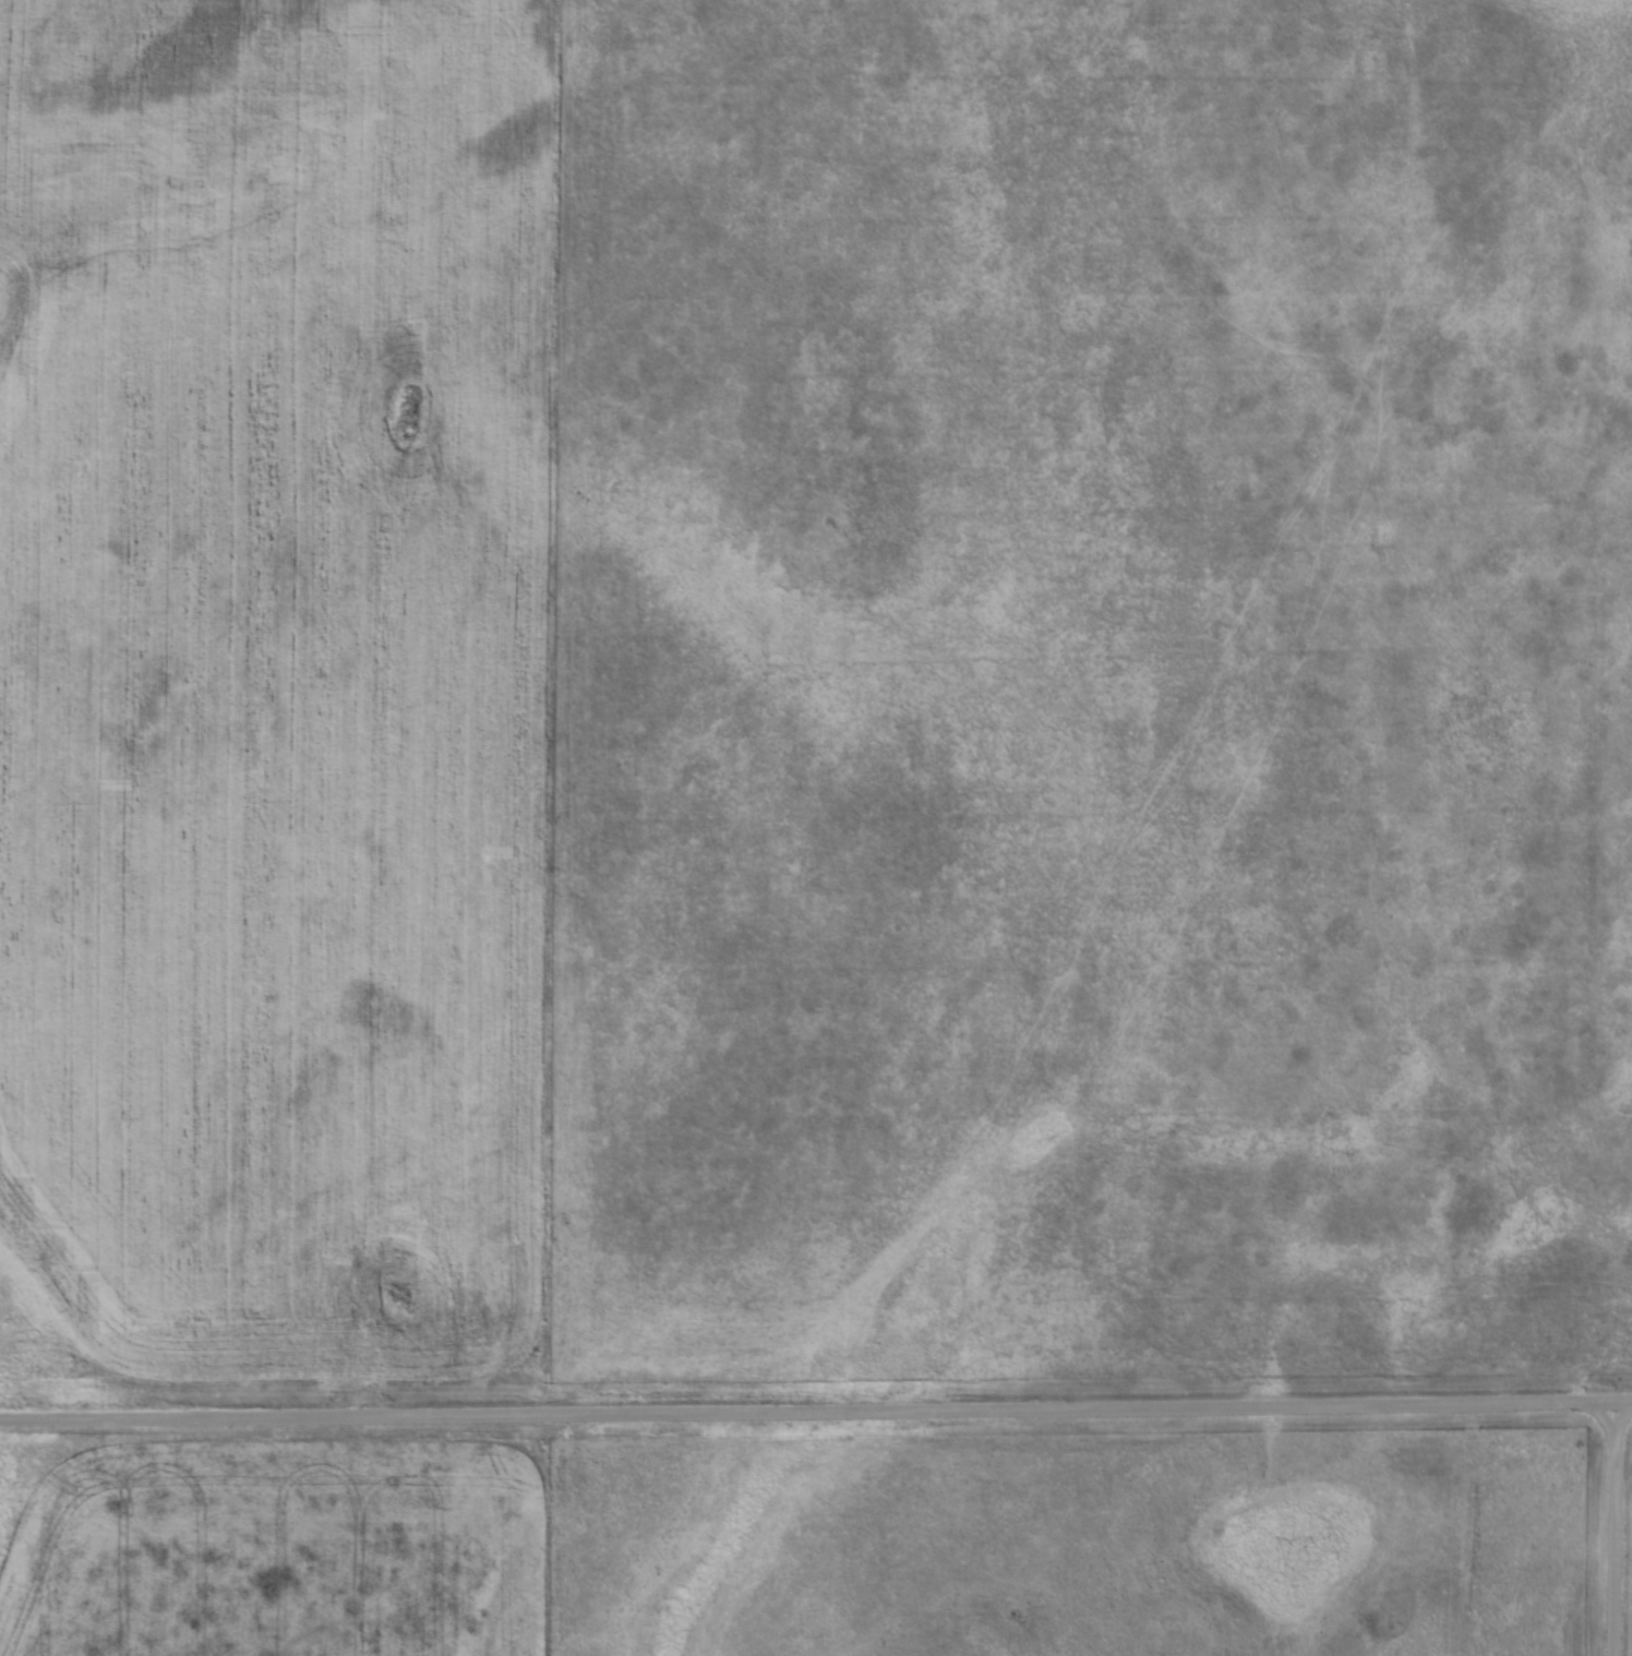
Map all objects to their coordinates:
road: (816, 1411)
road: (1612, 1529)

